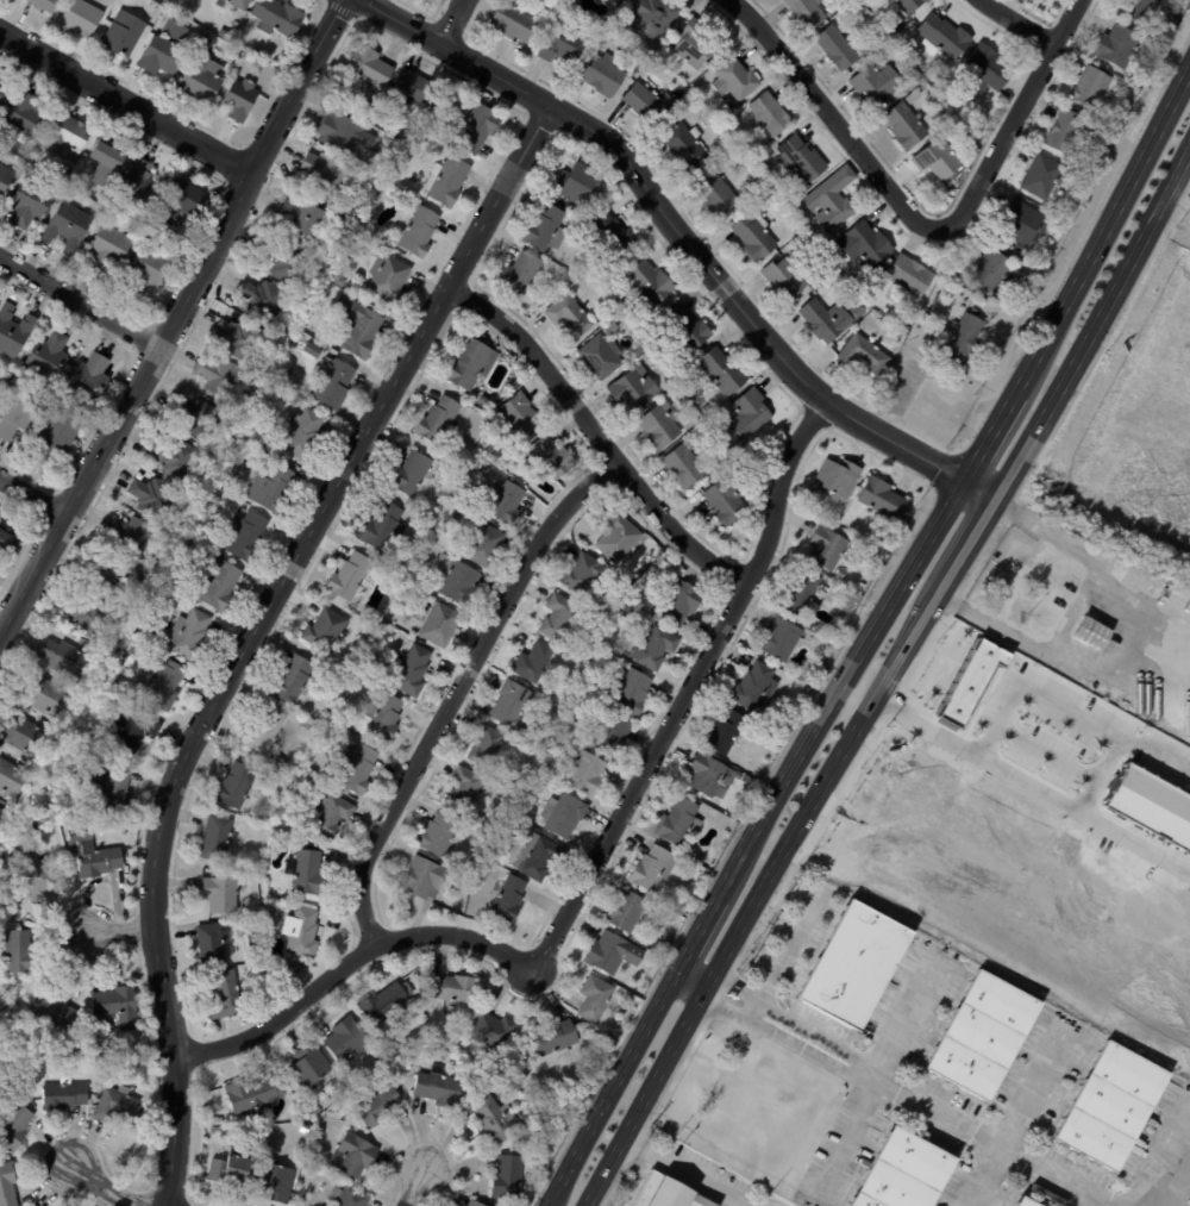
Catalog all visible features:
building: (126, 0)
building: (888, 0)
building: (890, 0)
building: (618, 1)
building: (238, 4)
building: (912, 5)
building: (42, 6)
building: (859, 6)
building: (833, 10)
building: (1135, 10)
building: (809, 12)
building: (651, 15)
building: (81, 18)
building: (277, 18)
road: (451, 21)
building: (513, 21)
building: (895, 24)
road: (1022, 24)
building: (174, 32)
building: (223, 35)
building: (123, 36)
building: (944, 37)
building: (690, 40)
building: (563, 44)
building: (1119, 45)
building: (839, 48)
building: (162, 57)
building: (369, 65)
building: (1111, 67)
building: (988, 70)
building: (603, 74)
building: (639, 74)
building: (201, 75)
building: (733, 76)
building: (261, 79)
building: (877, 81)
building: (415, 87)
building: (1092, 87)
building: (4, 89)
building: (914, 95)
building: (240, 100)
road: (125, 101)
building: (649, 102)
building: (731, 110)
building: (768, 112)
building: (25, 114)
building: (904, 123)
building: (940, 124)
building: (476, 127)
building: (1066, 132)
building: (343, 133)
building: (67, 136)
building: (421, 136)
building: (1111, 137)
building: (685, 145)
building: (720, 148)
building: (747, 149)
building: (938, 154)
building: (801, 158)
building: (105, 163)
building: (325, 173)
building: (1044, 176)
building: (5, 177)
building: (446, 180)
building: (578, 183)
building: (142, 186)
building: (718, 193)
building: (833, 199)
building: (181, 202)
building: (29, 204)
building: (574, 208)
building: (1070, 208)
road: (1172, 211)
building: (300, 215)
road: (922, 224)
building: (1023, 224)
building: (67, 226)
building: (416, 229)
building: (547, 229)
building: (614, 230)
building: (800, 230)
building: (754, 233)
road: (688, 239)
building: (869, 243)
building: (108, 246)
building: (288, 261)
building: (618, 264)
building: (991, 269)
building: (145, 270)
building: (520, 274)
building: (912, 275)
building: (389, 277)
building: (581, 277)
building: (785, 279)
building: (339, 281)
building: (651, 282)
building: (347, 288)
building: (997, 293)
road: (80, 300)
building: (267, 300)
building: (981, 300)
building: (915, 314)
road: (174, 315)
building: (571, 315)
building: (925, 319)
building: (827, 320)
building: (359, 327)
building: (610, 327)
building: (13, 330)
building: (691, 331)
building: (239, 338)
building: (964, 338)
building: (313, 349)
building: (865, 354)
building: (48, 357)
building: (601, 358)
building: (646, 361)
building: (470, 362)
building: (720, 371)
building: (219, 377)
building: (88, 380)
building: (333, 382)
building: (669, 383)
building: (295, 387)
building: (635, 388)
building: (294, 400)
building: (707, 410)
building: (750, 413)
building: (18, 415)
building: (462, 415)
building: (520, 415)
building: (200, 419)
building: (438, 420)
building: (660, 426)
building: (690, 427)
building: (303, 433)
road: (596, 435)
building: (57, 438)
building: (735, 448)
building: (494, 452)
building: (551, 457)
building: (175, 458)
building: (685, 465)
building: (231, 475)
building: (413, 475)
building: (838, 482)
building: (271, 487)
road: (32, 495)
building: (152, 496)
building: (882, 498)
building: (727, 501)
building: (506, 502)
building: (213, 505)
building: (457, 515)
building: (383, 526)
building: (132, 535)
building: (246, 536)
building: (618, 539)
building: (7, 542)
building: (484, 545)
building: (829, 548)
building: (641, 569)
building: (581, 573)
road: (1022, 573)
building: (349, 574)
building: (843, 574)
building: (413, 576)
building: (112, 577)
building: (457, 581)
building: (218, 585)
building: (860, 586)
building: (825, 589)
building: (801, 593)
building: (681, 604)
building: (652, 614)
building: (92, 618)
building: (558, 618)
building: (440, 625)
road: (255, 629)
building: (326, 630)
building: (1092, 632)
building: (189, 635)
road: (870, 637)
building: (781, 641)
road: (1132, 642)
building: (654, 648)
building: (136, 650)
building: (64, 658)
building: (534, 663)
building: (364, 666)
building: (412, 671)
road: (889, 673)
building: (294, 681)
building: (162, 685)
building: (756, 687)
road: (689, 688)
road: (456, 689)
building: (1106, 693)
building: (633, 694)
building: (45, 696)
building: (540, 696)
building: (512, 706)
building: (383, 718)
building: (318, 719)
building: (134, 731)
building: (264, 731)
building: (728, 732)
building: (612, 736)
building: (25, 737)
building: (486, 746)
building: (280, 764)
building: (357, 768)
building: (585, 775)
building: (708, 776)
building: (11, 779)
building: (234, 787)
building: (111, 788)
building: (465, 792)
building: (1152, 805)
building: (1, 816)
building: (330, 816)
building: (564, 816)
building: (716, 818)
building: (678, 823)
building: (439, 835)
building: (217, 838)
building: (92, 856)
building: (541, 858)
building: (652, 869)
building: (305, 870)
building: (424, 880)
building: (37, 893)
building: (221, 896)
building: (507, 900)
building: (280, 907)
building: (271, 908)
building: (627, 912)
building: (10, 914)
building: (300, 930)
road: (120, 933)
building: (212, 943)
road: (783, 951)
building: (19, 952)
building: (612, 955)
building: (240, 961)
road: (351, 963)
road: (699, 964)
building: (854, 964)
building: (453, 987)
road: (684, 991)
building: (227, 993)
building: (595, 999)
building: (384, 1005)
building: (114, 1006)
building: (51, 1010)
building: (10, 1011)
road: (788, 1019)
building: (491, 1030)
building: (983, 1035)
building: (553, 1037)
road: (778, 1038)
building: (347, 1039)
building: (392, 1046)
building: (129, 1050)
building: (98, 1066)
building: (407, 1067)
building: (311, 1069)
road: (878, 1074)
building: (484, 1076)
building: (439, 1087)
building: (543, 1093)
building: (64, 1094)
building: (253, 1094)
building: (119, 1105)
building: (378, 1106)
building: (1110, 1106)
road: (1016, 1116)
building: (496, 1119)
building: (14, 1125)
building: (305, 1127)
road: (982, 1137)
building: (353, 1155)
road: (1163, 1161)
building: (230, 1170)
road: (685, 1171)
building: (904, 1173)
building: (508, 1176)
building: (275, 1181)
building: (7, 1183)
road: (422, 1187)
road: (106, 1188)
building: (666, 1193)
building: (349, 1196)
building: (1027, 1201)
building: (474, 1202)
road: (769, 1205)

